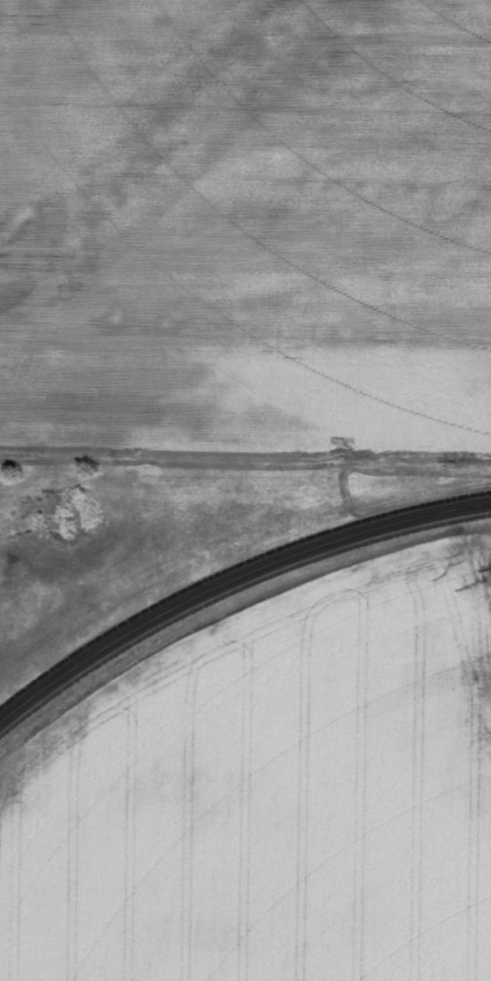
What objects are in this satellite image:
road: (230, 576)

